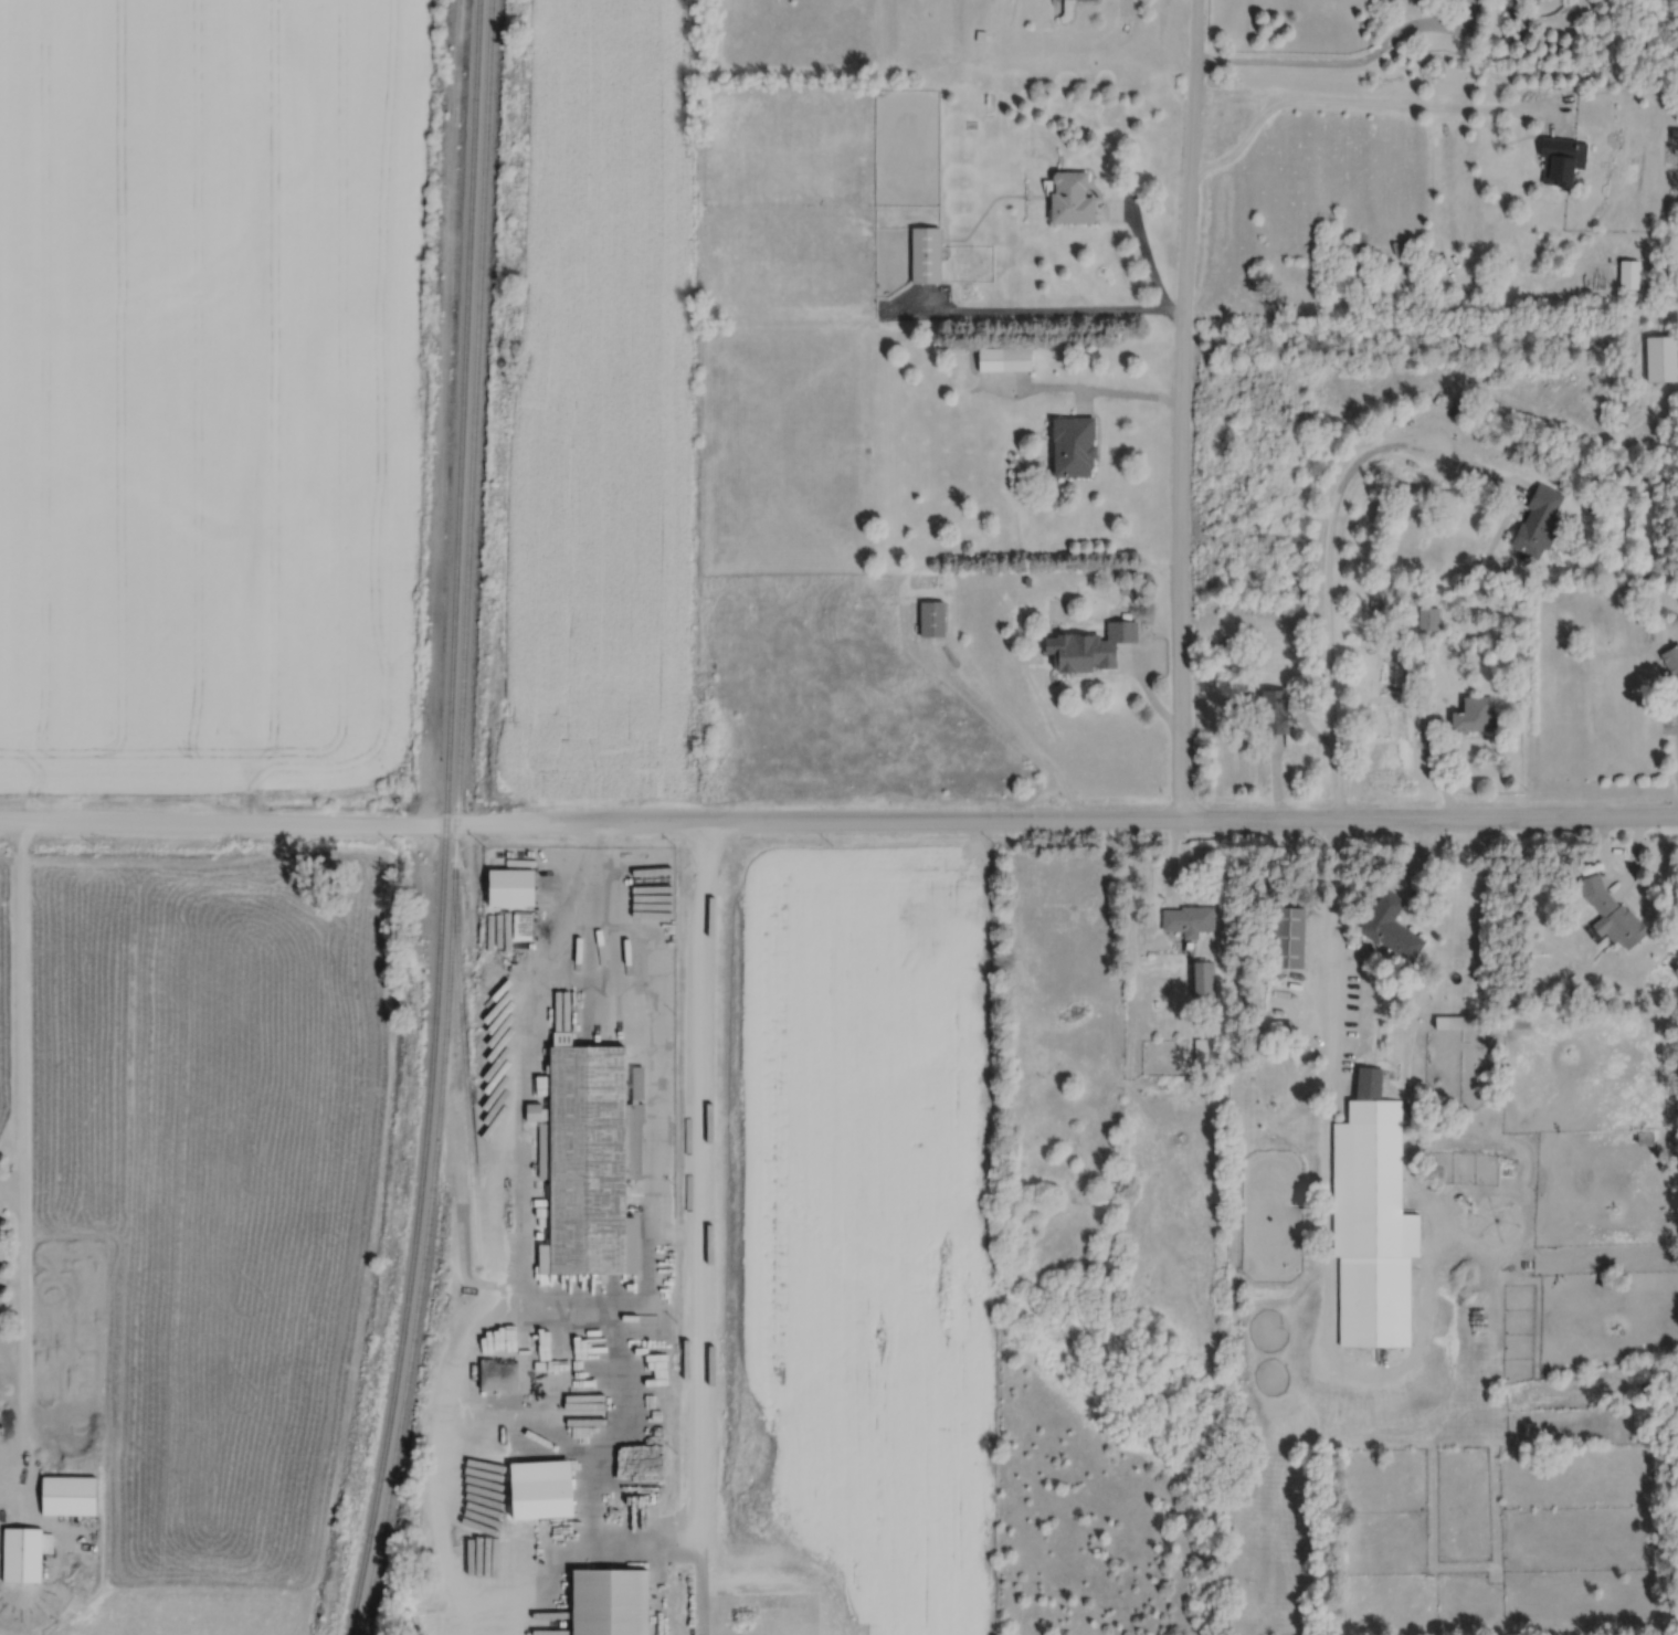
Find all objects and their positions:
road: (1339, 60)
road: (1386, 110)
building: (1555, 159)
building: (1068, 197)
building: (924, 254)
building: (1627, 274)
road: (1057, 310)
building: (1658, 358)
building: (1002, 359)
road: (1126, 392)
road: (1183, 411)
building: (1070, 446)
building: (1535, 523)
road: (1331, 553)
building: (1428, 618)
building: (929, 619)
building: (1089, 647)
building: (1671, 676)
building: (1271, 711)
building: (1471, 715)
road: (1429, 752)
railway: (444, 820)
railway: (454, 820)
road: (838, 825)
building: (657, 869)
building: (506, 887)
building: (952, 888)
road: (1337, 906)
building: (1611, 914)
building: (1186, 920)
building: (1389, 928)
building: (1286, 937)
building: (1202, 979)
building: (1516, 1021)
building: (1455, 1022)
railway: (463, 1068)
building: (1643, 1139)
building: (580, 1161)
road: (21, 1171)
building: (1370, 1221)
road: (701, 1231)
road: (1328, 1258)
building: (1610, 1283)
building: (1104, 1286)
building: (534, 1490)
building: (65, 1497)
building: (22, 1554)
building: (605, 1602)

